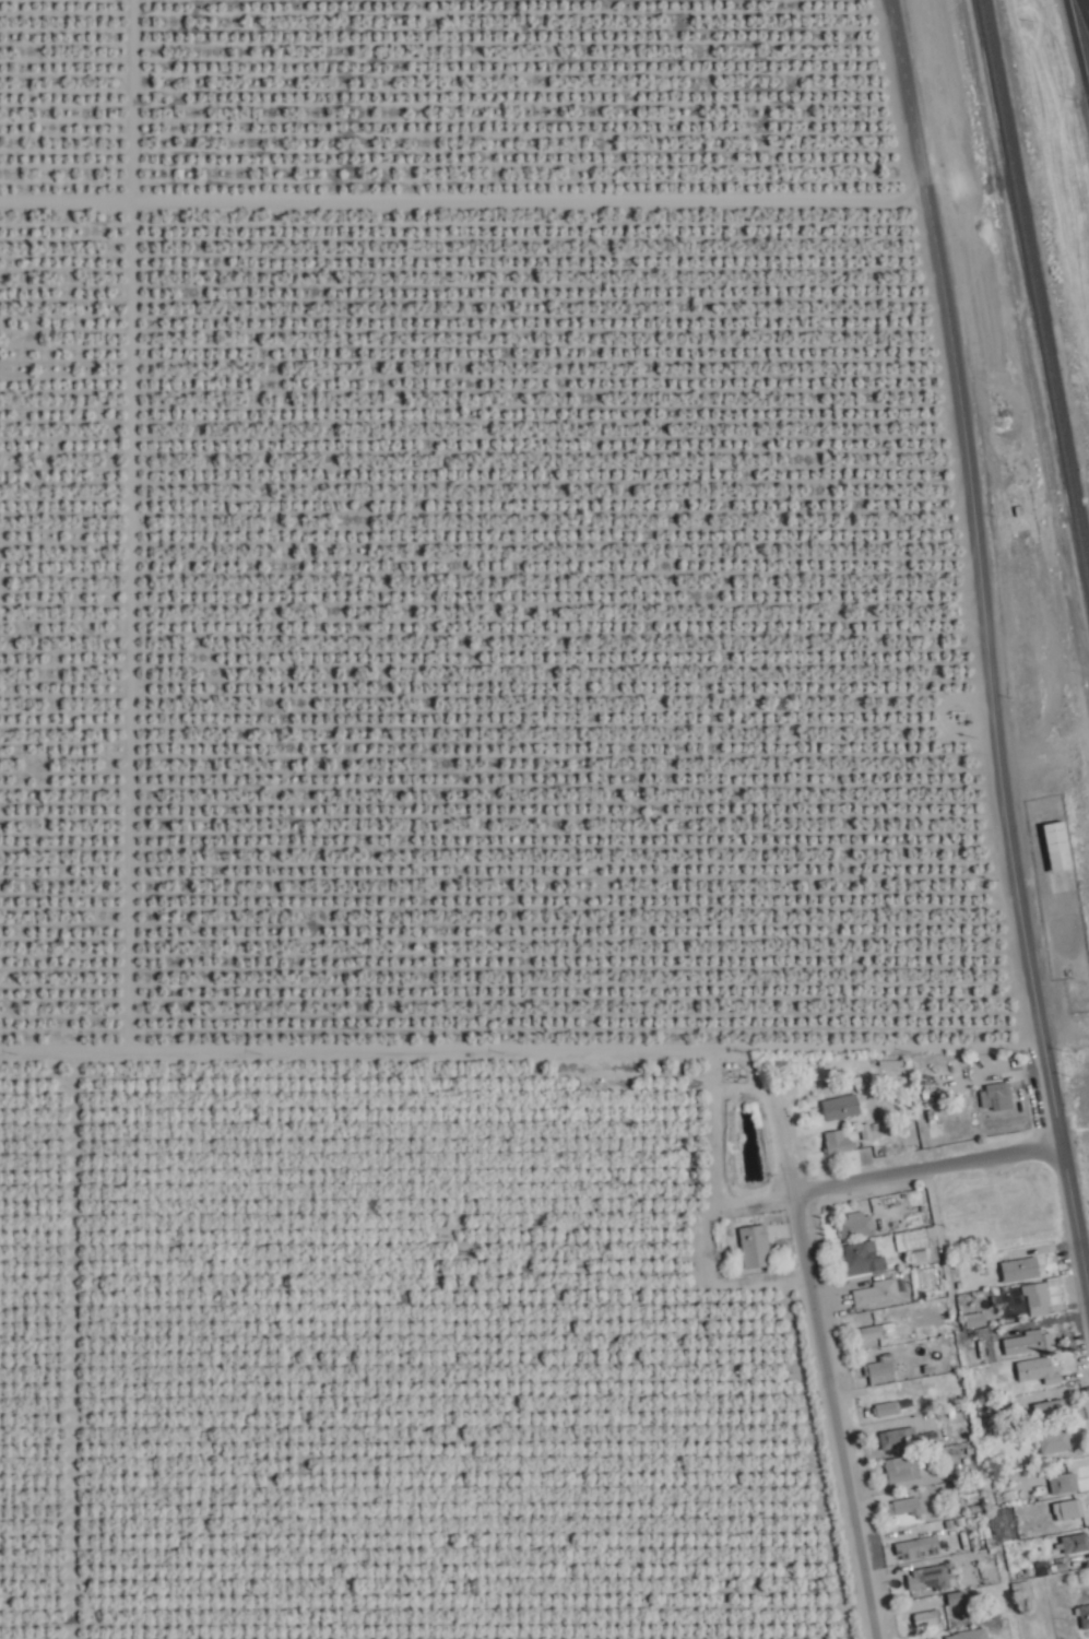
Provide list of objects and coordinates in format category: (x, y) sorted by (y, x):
road: (1087, 2)
road: (1078, 46)
railway: (1038, 274)
railway: (1027, 332)
road: (979, 566)
building: (1061, 856)
building: (999, 1090)
building: (842, 1108)
building: (840, 1143)
road: (921, 1159)
road: (1072, 1225)
building: (860, 1226)
building: (757, 1248)
building: (863, 1260)
building: (1020, 1271)
building: (875, 1295)
building: (1039, 1299)
building: (876, 1332)
building: (1041, 1340)
road: (824, 1369)
building: (883, 1370)
building: (1039, 1371)
building: (1052, 1408)
building: (889, 1410)
building: (900, 1439)
building: (1055, 1441)
building: (902, 1471)
building: (1066, 1484)
building: (909, 1506)
building: (1069, 1510)
building: (1076, 1544)
building: (926, 1548)
building: (933, 1578)
building: (960, 1599)
building: (1085, 1617)
building: (927, 1618)
building: (969, 1635)
building: (939, 1638)

